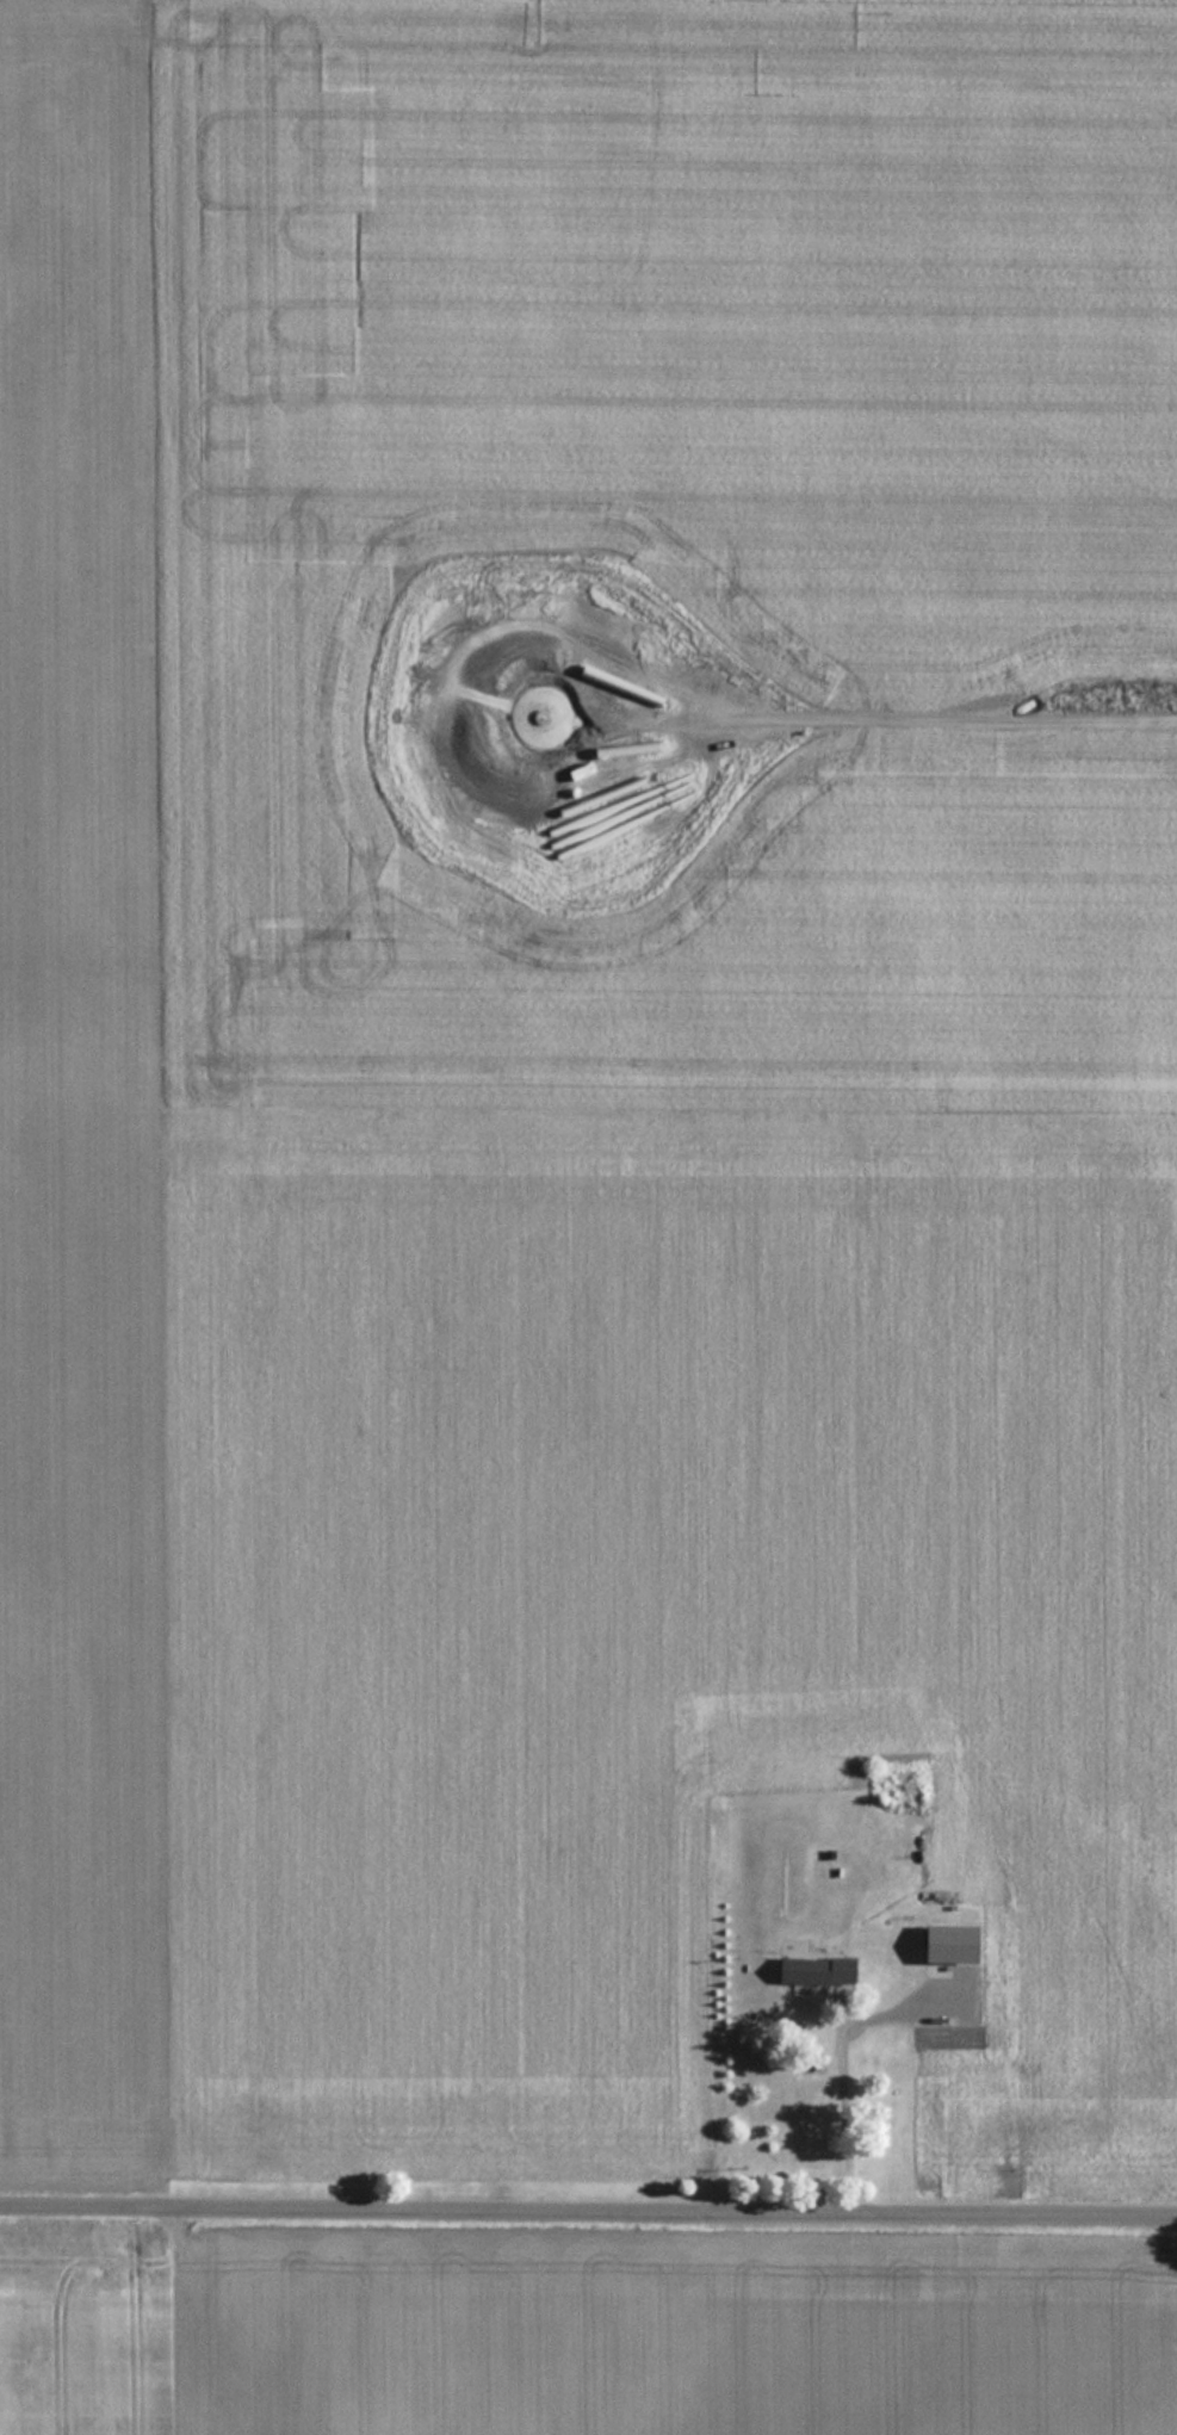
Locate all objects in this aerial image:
wind turbine: (552, 720)
building: (820, 1969)
road: (840, 2052)
road: (588, 2214)

